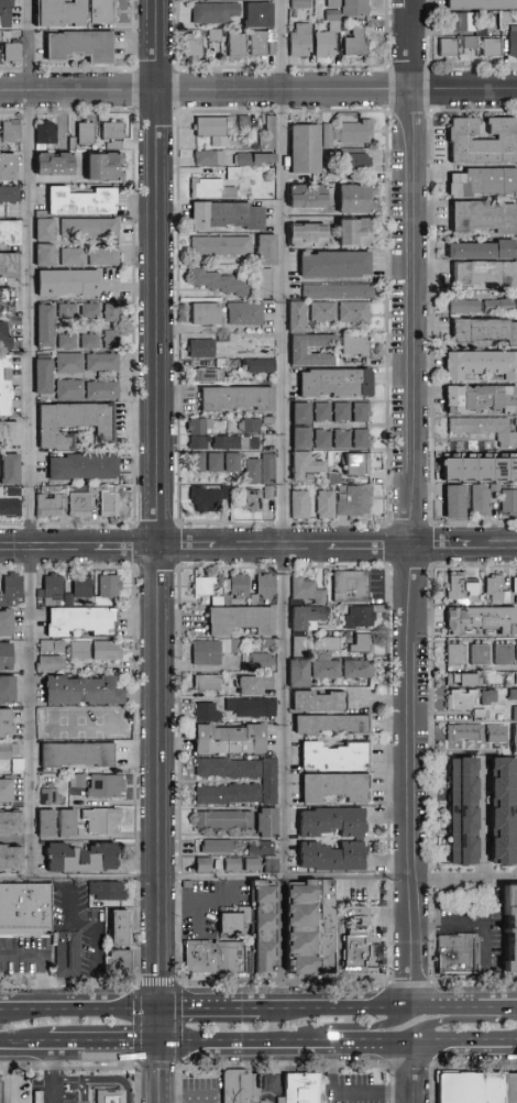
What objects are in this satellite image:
building: (298, 3)
building: (332, 3)
building: (479, 4)
building: (354, 7)
building: (99, 11)
building: (212, 12)
building: (2, 13)
building: (54, 13)
building: (256, 14)
building: (470, 33)
building: (326, 35)
building: (298, 40)
building: (512, 41)
building: (353, 42)
building: (256, 43)
building: (190, 44)
building: (235, 44)
building: (76, 45)
building: (446, 46)
building: (11, 51)
road: (257, 91)
building: (110, 128)
building: (209, 128)
building: (8, 129)
building: (43, 131)
building: (82, 131)
building: (343, 131)
building: (266, 132)
building: (479, 139)
building: (301, 146)
building: (207, 155)
building: (253, 157)
building: (51, 162)
building: (353, 162)
building: (99, 164)
building: (4, 165)
building: (481, 179)
building: (210, 187)
building: (8, 191)
building: (304, 194)
building: (352, 197)
building: (77, 199)
building: (224, 213)
building: (483, 214)
building: (87, 225)
building: (41, 228)
building: (8, 229)
building: (352, 229)
building: (302, 233)
building: (219, 244)
building: (263, 247)
building: (480, 247)
building: (41, 253)
building: (70, 255)
building: (101, 255)
road: (158, 260)
building: (7, 262)
building: (331, 263)
building: (482, 272)
building: (64, 280)
building: (221, 282)
building: (262, 282)
building: (335, 290)
building: (4, 300)
building: (515, 301)
building: (496, 302)
building: (461, 305)
building: (65, 309)
building: (86, 309)
building: (109, 310)
building: (321, 310)
building: (202, 311)
building: (243, 311)
building: (352, 311)
building: (294, 315)
building: (42, 323)
building: (484, 328)
building: (2, 337)
building: (109, 337)
building: (87, 339)
building: (65, 340)
building: (353, 344)
building: (198, 346)
building: (297, 348)
building: (67, 361)
building: (100, 361)
building: (480, 362)
building: (258, 364)
building: (40, 374)
building: (205, 374)
building: (333, 380)
building: (2, 383)
building: (67, 387)
building: (100, 389)
building: (233, 396)
building: (479, 396)
building: (320, 410)
building: (350, 410)
building: (298, 411)
building: (70, 421)
building: (198, 424)
building: (483, 428)
building: (7, 431)
building: (516, 432)
building: (298, 437)
building: (359, 437)
building: (320, 438)
building: (340, 438)
road: (287, 439)
road: (414, 439)
road: (29, 440)
building: (198, 441)
building: (226, 441)
building: (205, 461)
building: (230, 461)
building: (355, 462)
building: (301, 463)
building: (79, 464)
building: (479, 466)
building: (8, 467)
building: (266, 467)
building: (251, 470)
building: (266, 490)
building: (204, 497)
building: (479, 498)
building: (106, 499)
building: (250, 499)
building: (352, 499)
building: (451, 499)
building: (10, 500)
building: (508, 500)
building: (297, 503)
building: (323, 503)
building: (61, 504)
road: (349, 547)
road: (65, 548)
road: (131, 552)
building: (264, 582)
building: (514, 583)
building: (79, 584)
building: (107, 584)
building: (201, 584)
building: (349, 584)
building: (459, 585)
building: (48, 586)
building: (492, 586)
building: (9, 588)
building: (305, 588)
building: (302, 615)
building: (358, 616)
building: (480, 617)
building: (238, 618)
building: (4, 619)
building: (78, 619)
building: (361, 641)
building: (328, 642)
building: (50, 644)
building: (76, 649)
building: (103, 649)
building: (516, 649)
building: (204, 651)
building: (454, 652)
building: (477, 652)
building: (502, 652)
building: (3, 654)
building: (260, 660)
building: (47, 661)
building: (324, 668)
building: (355, 668)
building: (296, 672)
building: (460, 677)
building: (263, 680)
building: (204, 681)
building: (244, 684)
building: (5, 688)
building: (78, 690)
building: (512, 695)
building: (461, 698)
building: (316, 699)
building: (249, 705)
building: (204, 710)
building: (514, 712)
building: (102, 719)
building: (3, 721)
building: (328, 723)
road: (159, 724)
building: (463, 730)
building: (495, 732)
building: (513, 737)
building: (226, 738)
building: (3, 750)
building: (74, 753)
building: (329, 755)
building: (226, 766)
building: (267, 779)
building: (103, 784)
building: (331, 785)
building: (3, 787)
building: (226, 793)
building: (46, 795)
building: (459, 808)
building: (501, 809)
building: (98, 818)
building: (222, 818)
road: (486, 819)
building: (42, 820)
building: (63, 820)
building: (264, 820)
building: (329, 820)
building: (8, 821)
building: (213, 845)
building: (258, 847)
building: (328, 854)
building: (7, 856)
building: (78, 856)
building: (200, 863)
building: (230, 863)
building: (250, 863)
building: (266, 863)
road: (465, 875)
road: (81, 879)
road: (288, 879)
building: (103, 889)
road: (163, 891)
building: (257, 891)
road: (211, 903)
building: (25, 909)
building: (258, 915)
building: (231, 924)
building: (307, 924)
road: (488, 925)
building: (512, 929)
building: (120, 930)
road: (96, 936)
road: (415, 941)
building: (258, 950)
building: (355, 950)
building: (201, 952)
building: (69, 955)
road: (165, 956)
building: (458, 956)
building: (231, 960)
road: (42, 961)
building: (120, 962)
road: (387, 1005)
road: (212, 1008)
road: (48, 1010)
road: (131, 1010)
road: (8, 1015)
road: (462, 1021)
road: (165, 1028)
road: (358, 1028)
road: (341, 1045)
road: (107, 1047)
road: (24, 1048)
road: (419, 1073)
road: (165, 1074)
road: (12, 1076)
road: (50, 1076)
road: (64, 1079)
road: (101, 1079)
building: (228, 1085)
building: (250, 1088)
building: (301, 1088)
building: (472, 1088)
building: (512, 1089)
building: (2, 1092)
road: (349, 1095)
building: (112, 1096)
building: (40, 1098)

